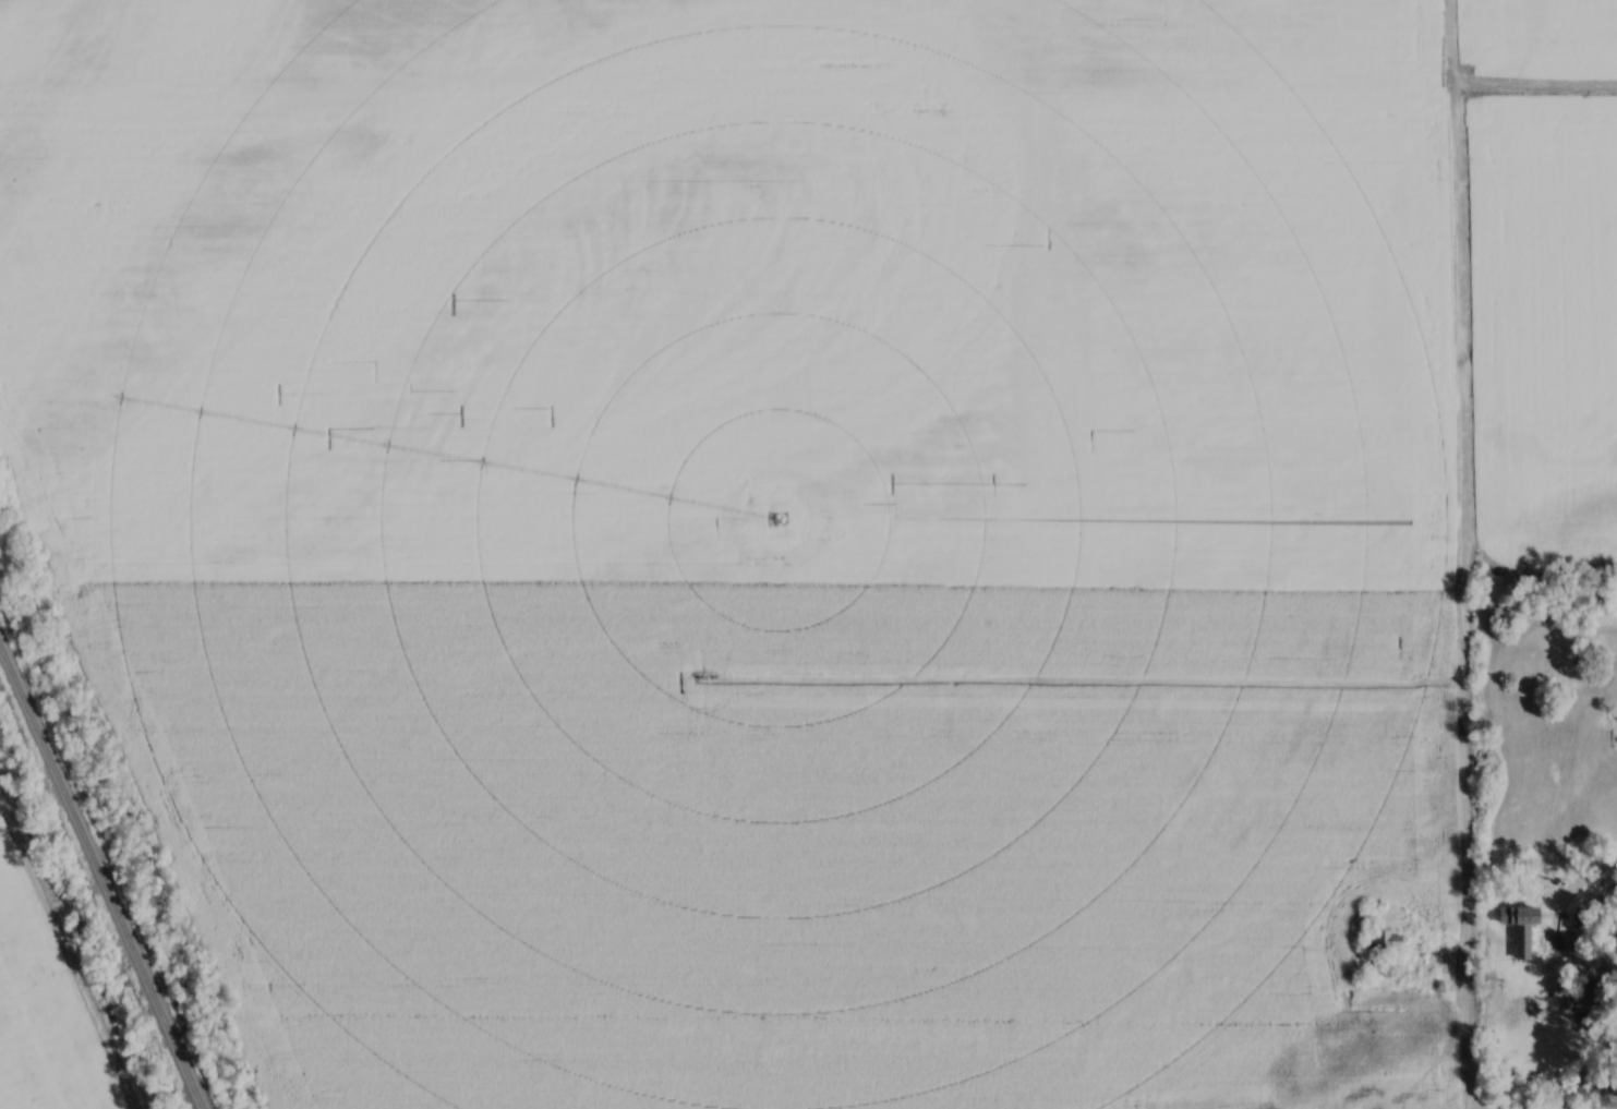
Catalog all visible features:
railway: (102, 876)
building: (1392, 942)

